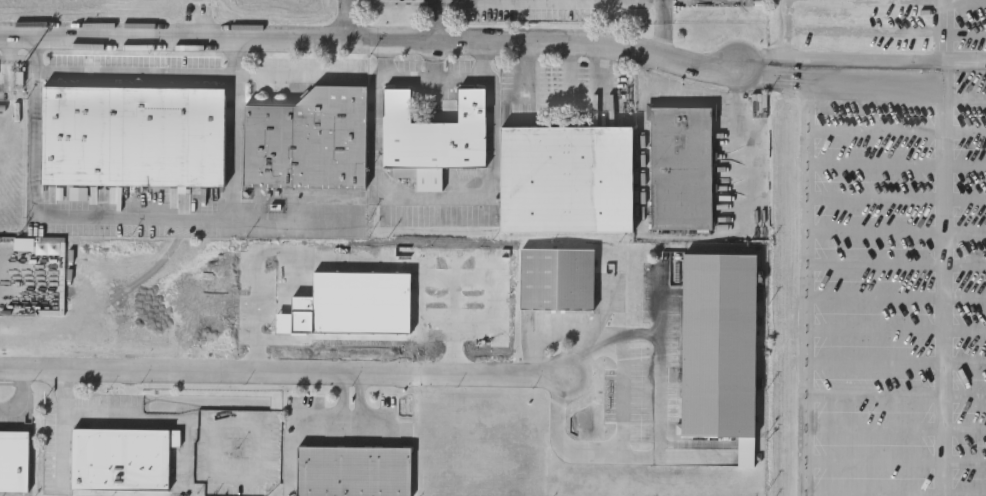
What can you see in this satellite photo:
road: (437, 4)
road: (662, 8)
road: (346, 18)
road: (439, 23)
road: (948, 30)
road: (663, 34)
road: (383, 38)
road: (738, 49)
road: (433, 57)
road: (858, 57)
road: (967, 60)
road: (136, 72)
road: (529, 72)
road: (295, 73)
road: (567, 73)
road: (607, 74)
road: (433, 76)
road: (854, 82)
road: (700, 97)
building: (132, 135)
building: (431, 137)
building: (306, 140)
building: (680, 167)
building: (564, 178)
road: (131, 211)
road: (280, 220)
parking lot: (888, 246)
road: (795, 248)
road: (374, 257)
road: (948, 278)
building: (555, 280)
road: (659, 300)
road: (606, 304)
road: (556, 332)
building: (717, 345)
road: (278, 365)
road: (22, 392)
road: (622, 396)
road: (155, 419)
road: (62, 420)
road: (659, 425)
building: (121, 459)
building: (14, 461)
building: (353, 471)

